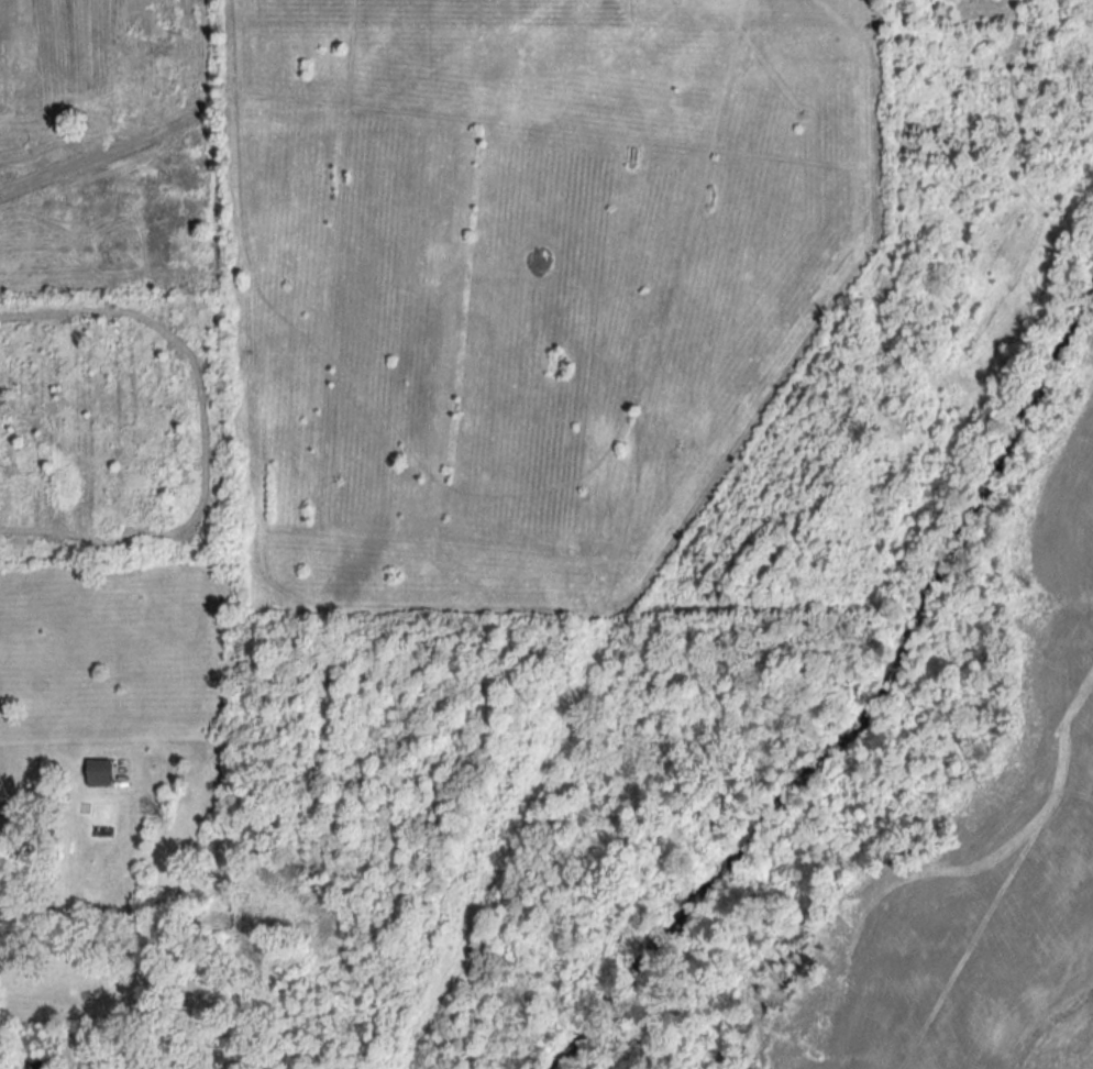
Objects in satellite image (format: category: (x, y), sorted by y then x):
building: (97, 771)

